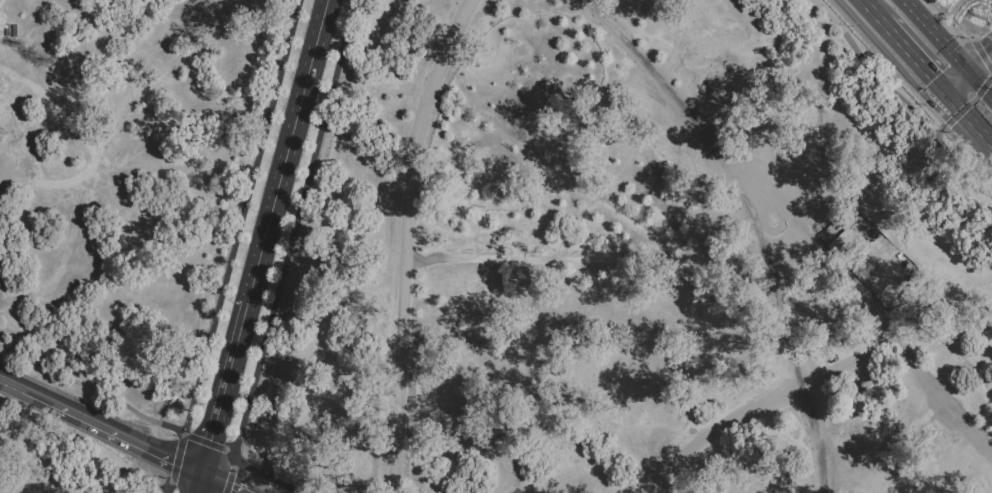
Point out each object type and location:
road: (906, 6)
road: (927, 8)
road: (870, 9)
road: (936, 37)
road: (877, 45)
traffic signals: (981, 47)
road: (907, 51)
road: (975, 51)
road: (981, 67)
road: (965, 70)
road: (948, 73)
traffic signals: (933, 79)
road: (961, 87)
road: (982, 87)
road: (943, 90)
traffic signals: (919, 91)
traffic signals: (985, 91)
road: (905, 96)
road: (960, 111)
road: (965, 116)
road: (945, 119)
road: (987, 139)
road: (287, 149)
road: (724, 163)
road: (240, 216)
road: (293, 226)
road: (406, 240)
park: (481, 252)
road: (672, 277)
road: (11, 383)
road: (224, 385)
road: (91, 389)
road: (911, 423)
road: (111, 430)
road: (209, 443)
road: (176, 457)
traffic signals: (201, 471)
road: (230, 472)
road: (263, 477)
road: (197, 482)
road: (224, 482)
road: (168, 487)

